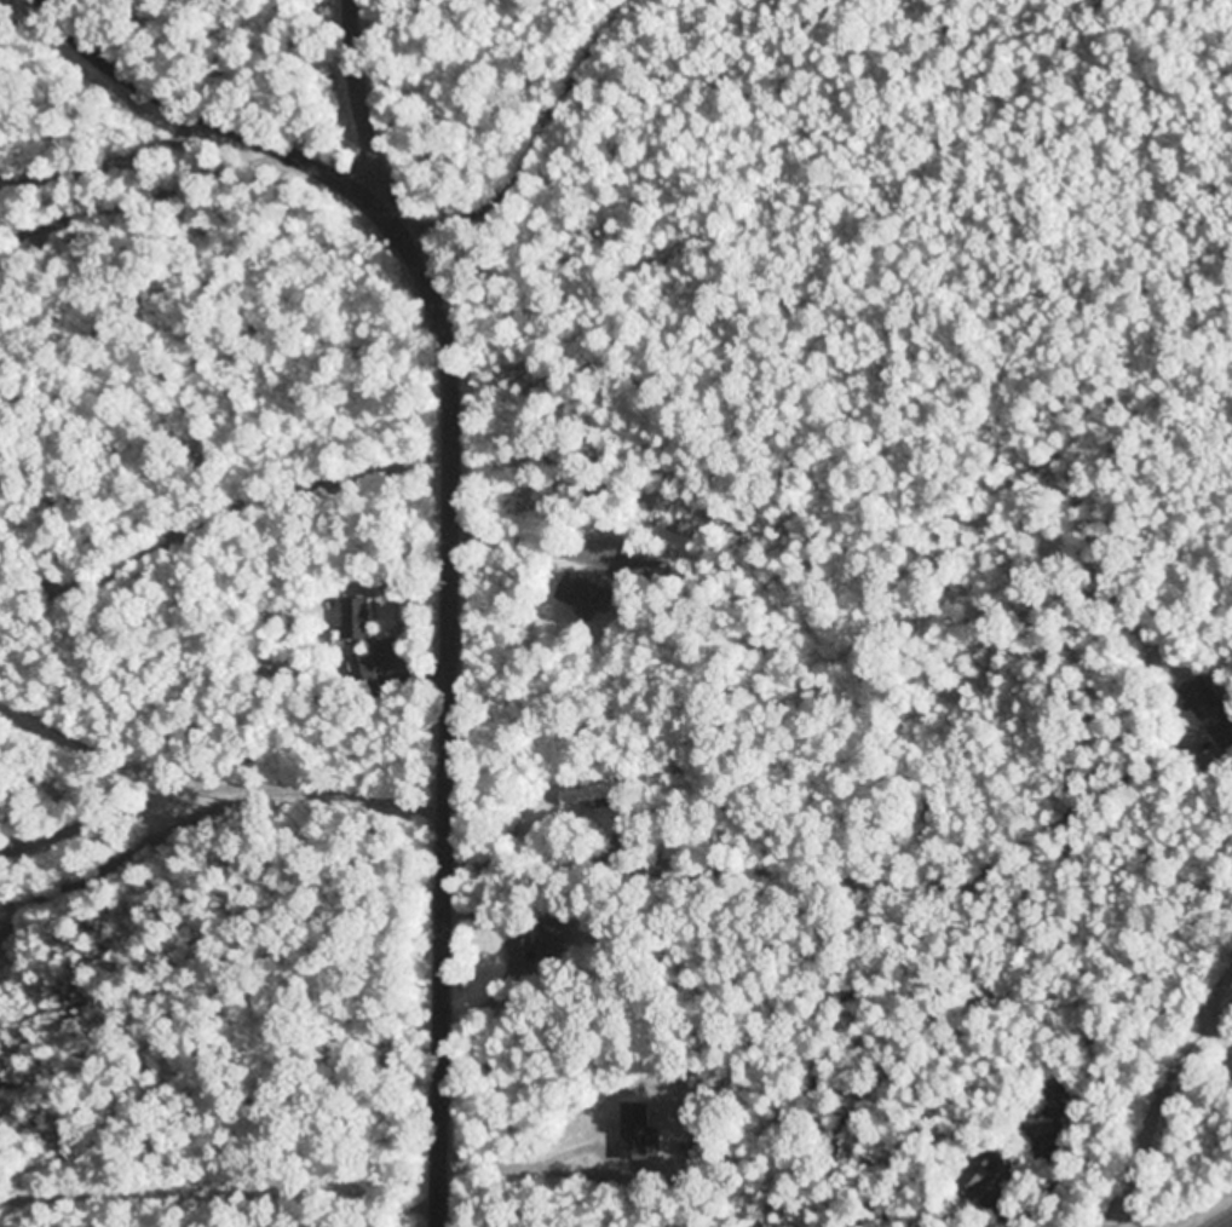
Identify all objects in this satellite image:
road: (387, 138)
road: (455, 512)
building: (583, 592)
building: (357, 618)
building: (362, 667)
building: (1210, 710)
building: (592, 793)
building: (553, 938)
building: (1231, 1060)
building: (1053, 1116)
building: (639, 1134)
road: (1030, 1157)
building: (978, 1175)
road: (1105, 1183)
road: (1193, 1203)
road: (421, 1211)
road: (1231, 1226)

